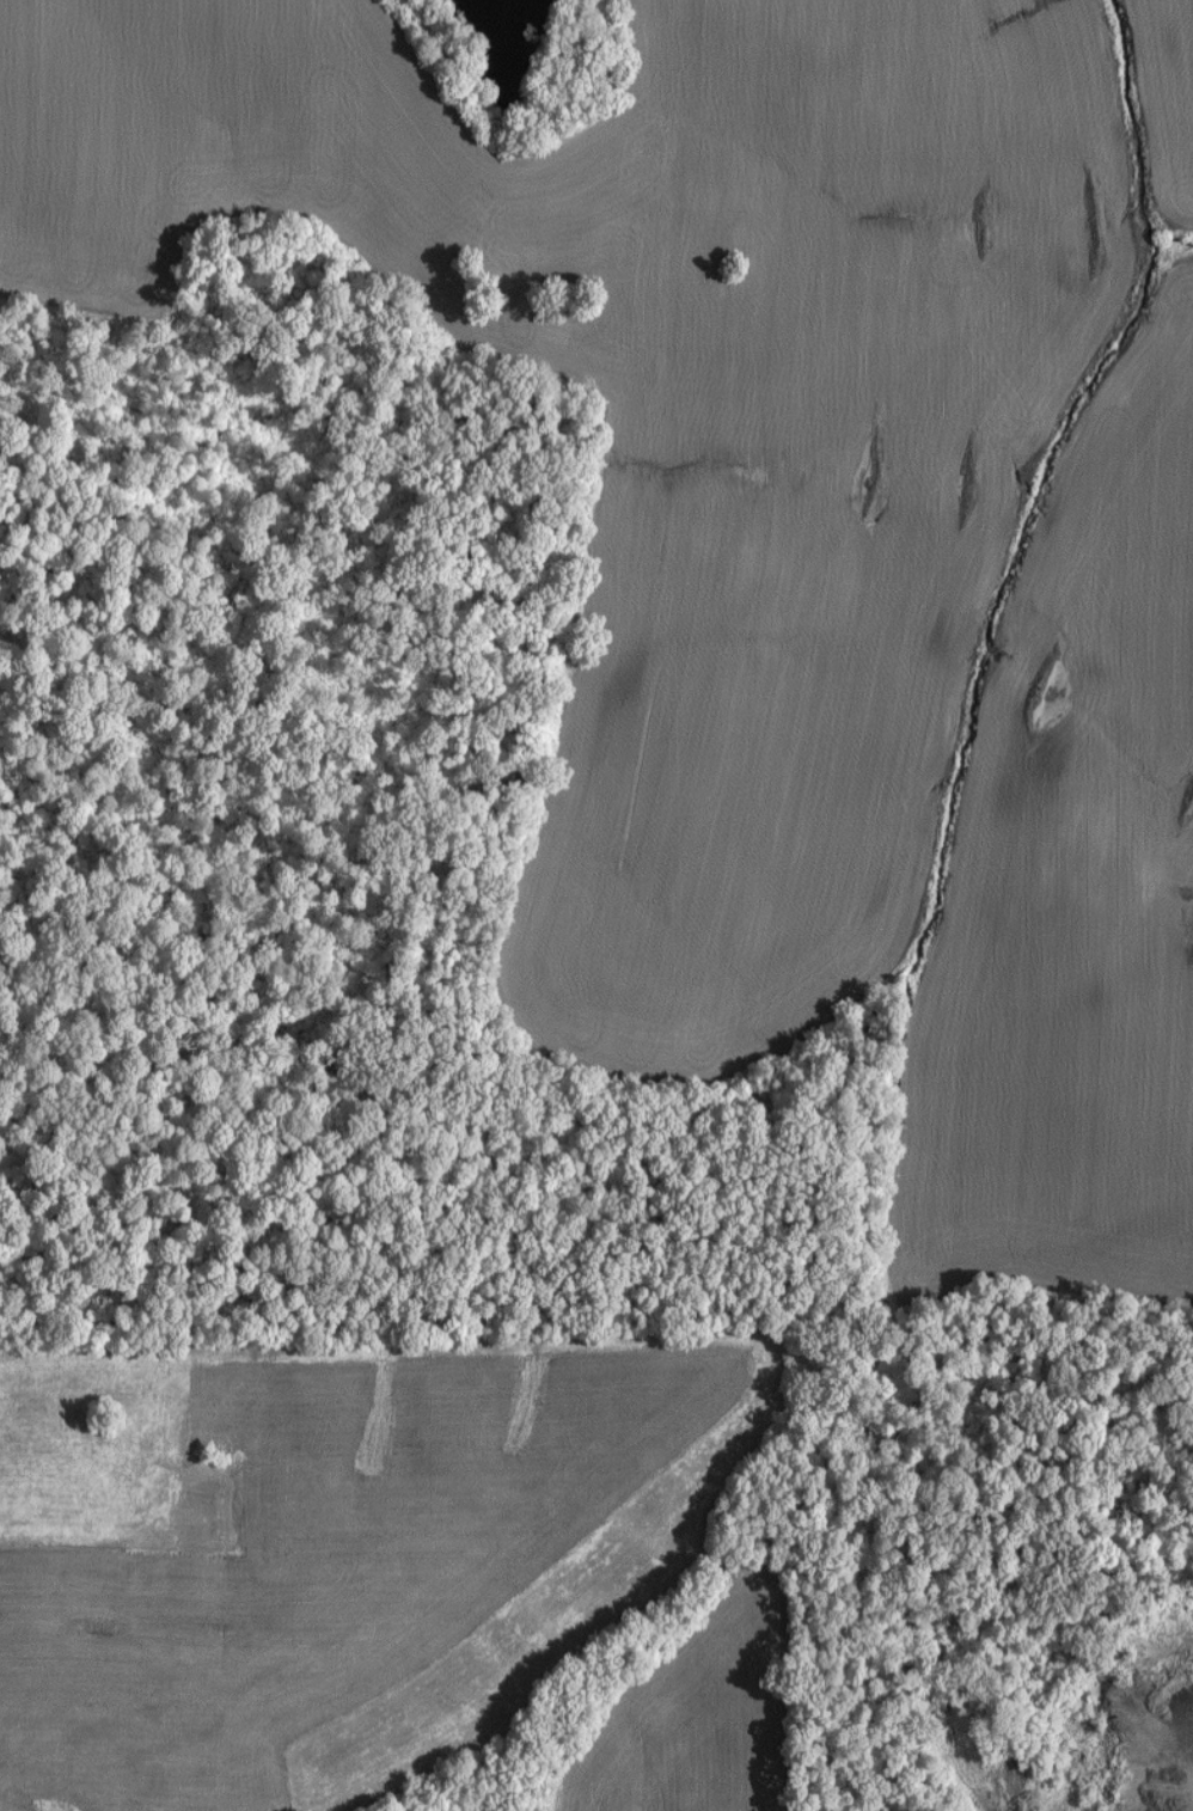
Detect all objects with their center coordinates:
building: (1003, 1760)

